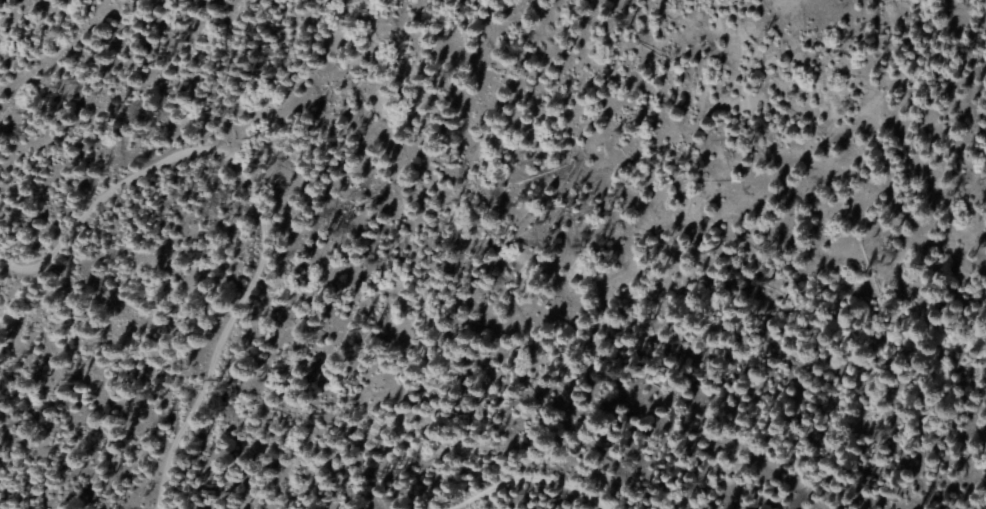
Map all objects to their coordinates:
road: (256, 205)
road: (523, 481)

